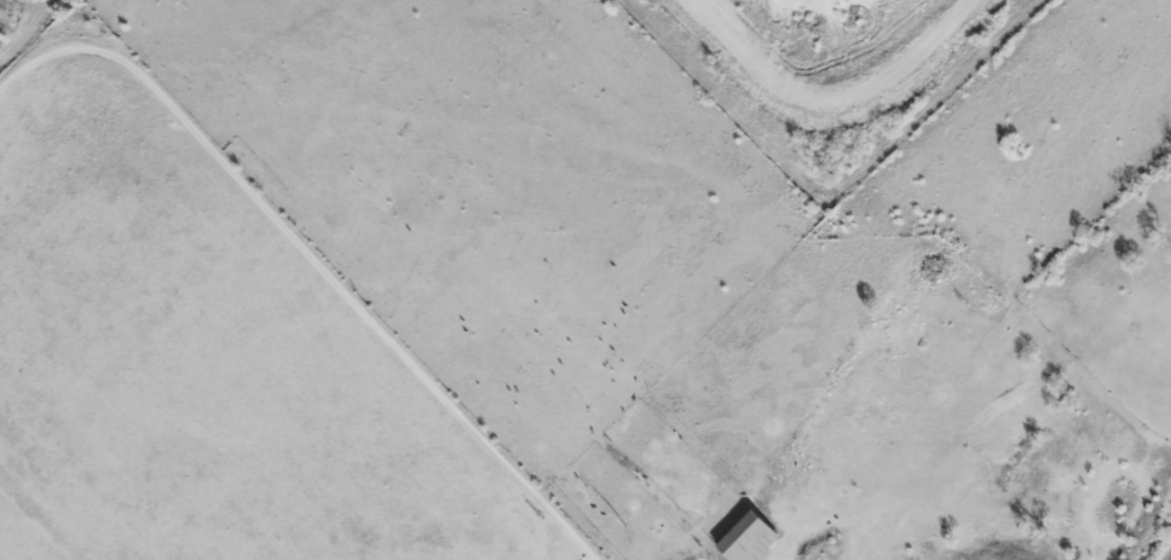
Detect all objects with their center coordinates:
landfill: (836, 74)
road: (827, 102)
road: (315, 258)
building: (745, 538)

